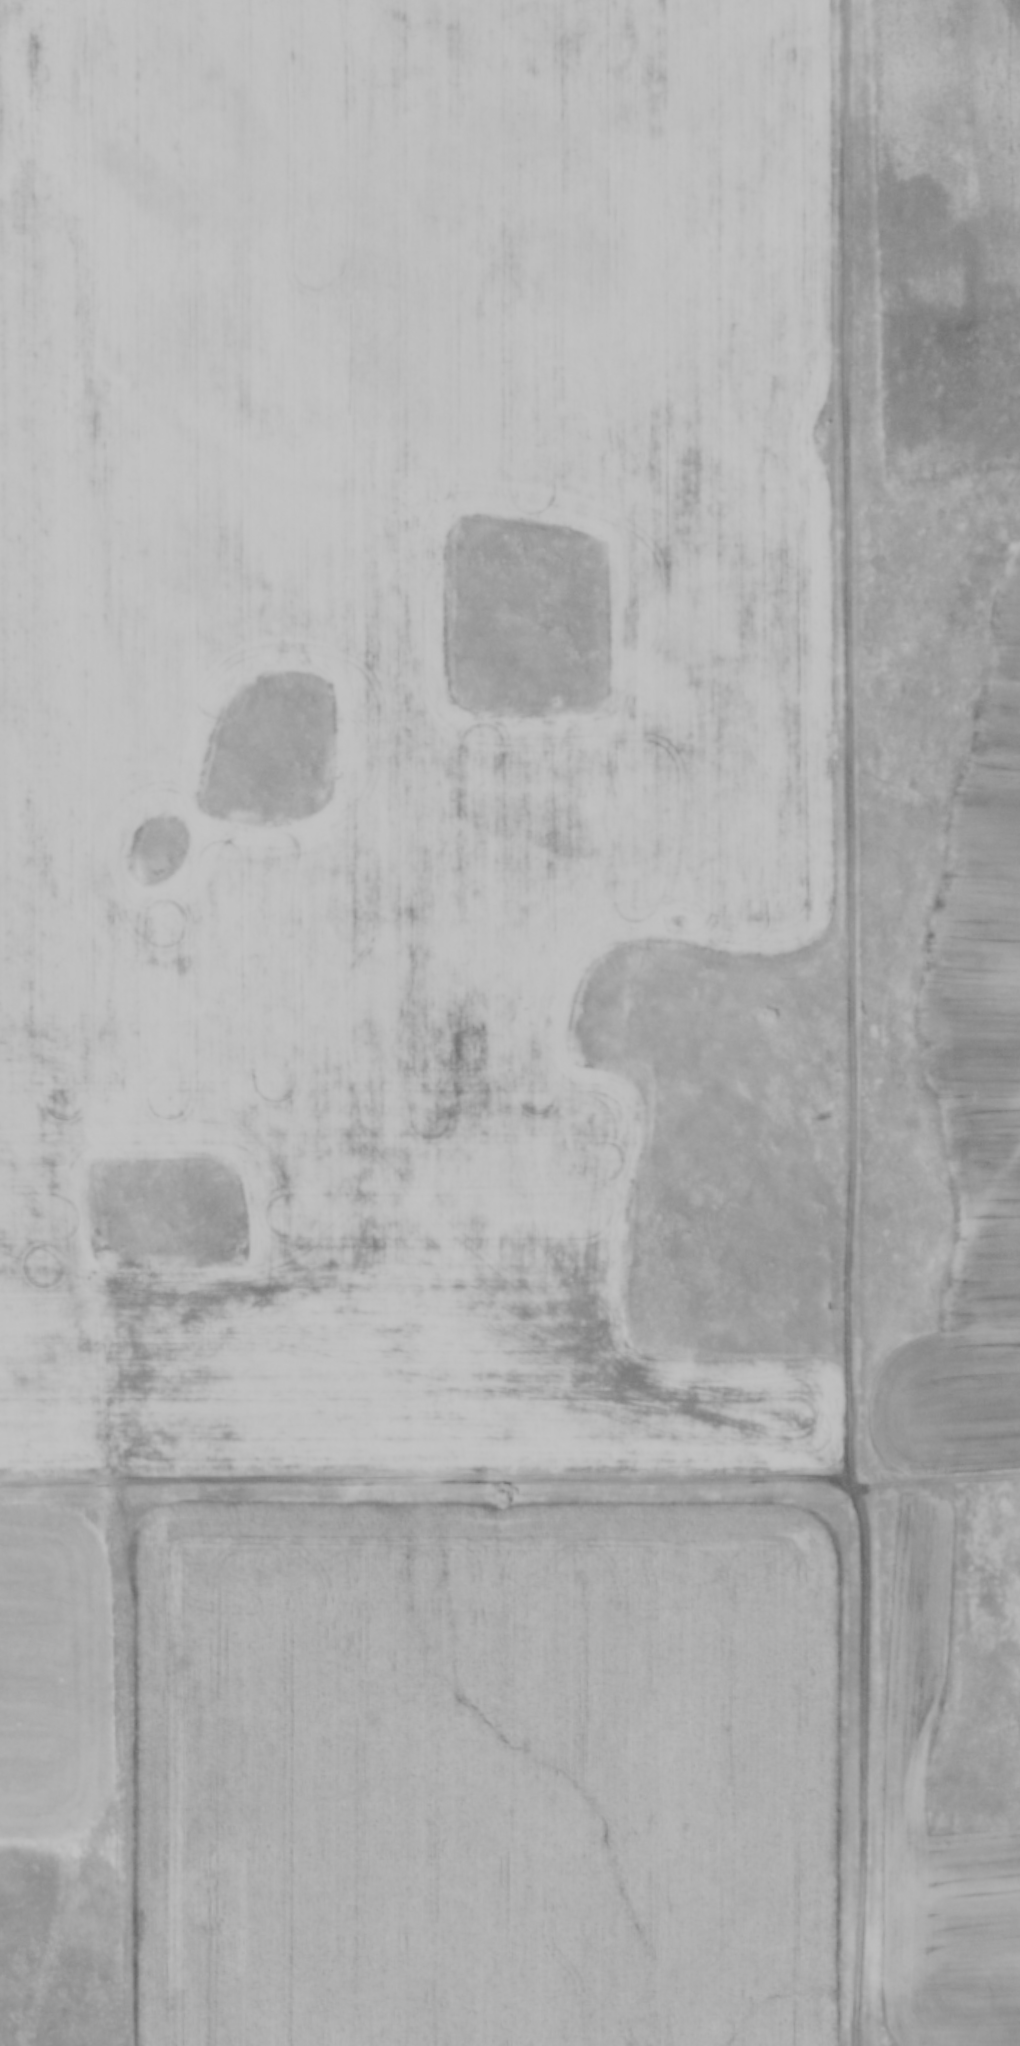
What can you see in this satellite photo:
road: (849, 1024)
road: (425, 1477)
road: (934, 1490)

